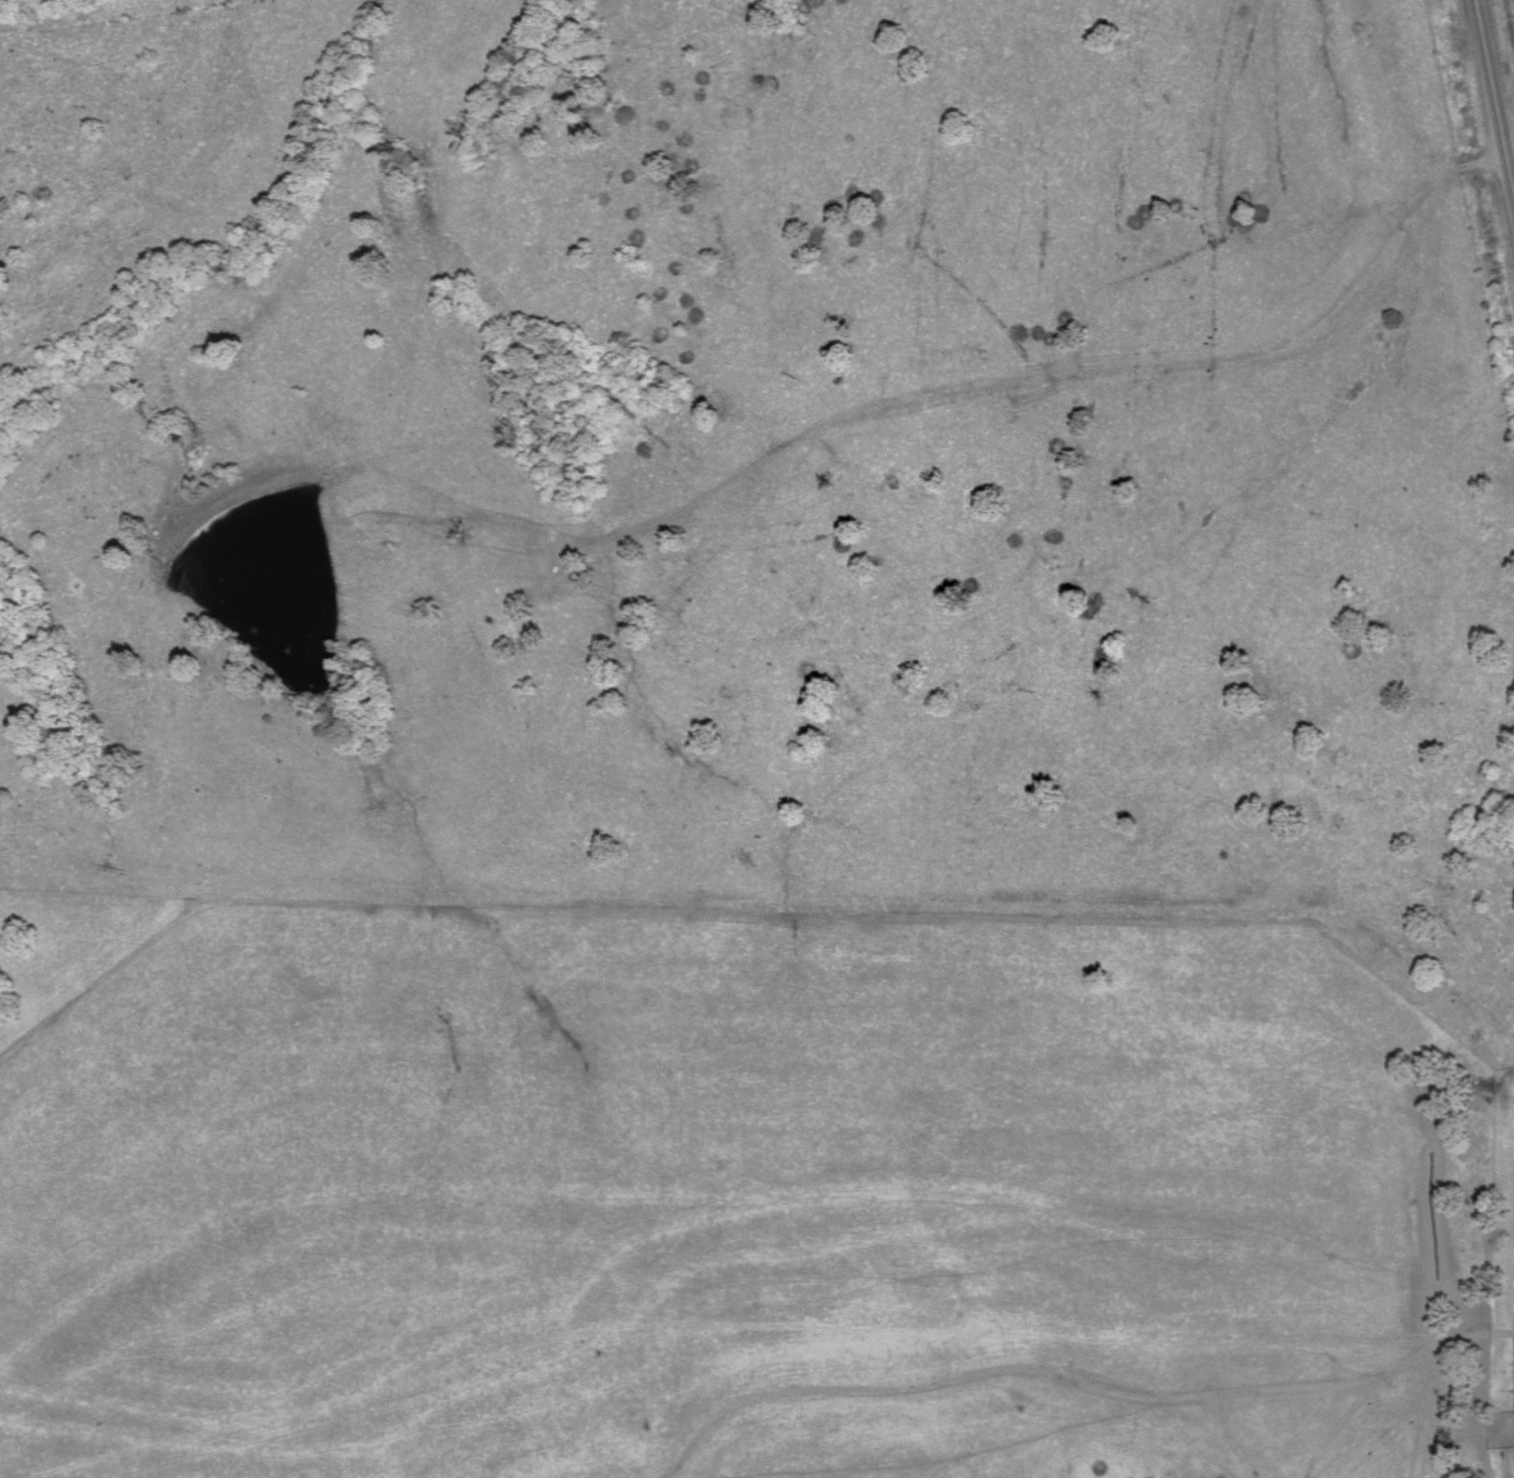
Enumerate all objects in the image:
road: (1488, 123)

